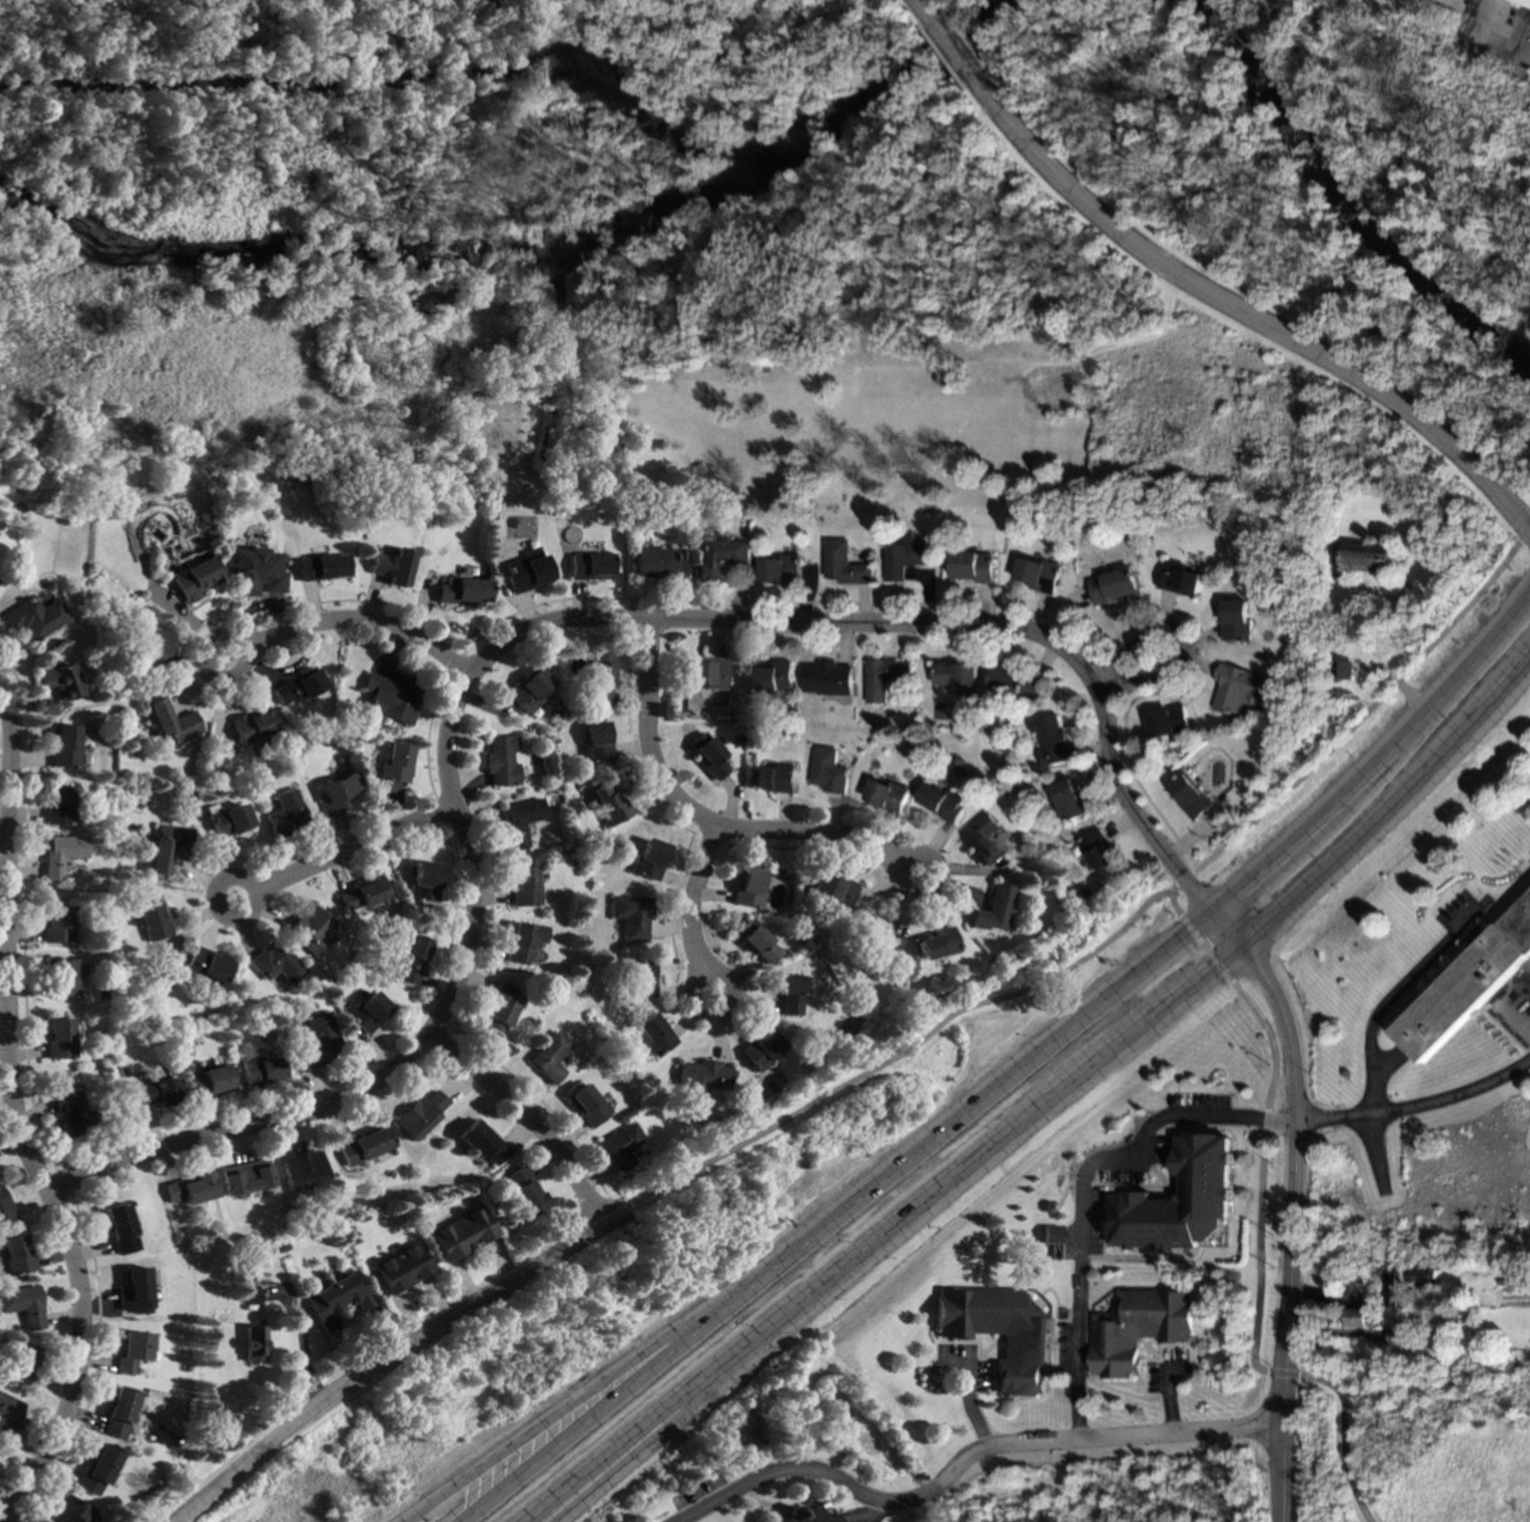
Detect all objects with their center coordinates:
building: (1523, 2)
road: (918, 5)
road: (1498, 21)
road: (957, 58)
river: (1336, 183)
river: (569, 248)
park: (798, 280)
road: (1256, 322)
building: (489, 515)
road: (1525, 535)
building: (1269, 544)
building: (717, 554)
building: (905, 557)
building: (1362, 558)
building: (845, 563)
building: (658, 564)
building: (391, 565)
building: (590, 565)
building: (975, 565)
building: (321, 567)
building: (780, 569)
building: (527, 570)
building: (255, 571)
building: (1040, 572)
building: (1182, 577)
building: (193, 579)
building: (45, 584)
building: (1117, 584)
building: (462, 589)
building: (33, 617)
building: (1238, 619)
road: (348, 623)
road: (517, 635)
building: (152, 648)
road: (1186, 651)
building: (1342, 669)
building: (707, 672)
building: (956, 673)
building: (770, 675)
building: (884, 676)
building: (826, 677)
building: (602, 678)
building: (59, 680)
building: (1017, 680)
building: (298, 686)
building: (1237, 686)
building: (530, 689)
building: (394, 696)
road: (125, 698)
road: (1363, 714)
building: (972, 719)
building: (1170, 721)
building: (173, 722)
building: (252, 725)
building: (1050, 739)
building: (597, 742)
building: (67, 747)
building: (708, 754)
building: (502, 760)
building: (397, 762)
road: (1369, 769)
building: (828, 770)
road: (27, 771)
building: (774, 777)
building: (190, 792)
building: (339, 792)
building: (889, 794)
building: (1190, 795)
building: (1071, 798)
building: (943, 801)
building: (609, 803)
building: (62, 805)
building: (286, 813)
road: (1377, 815)
building: (228, 819)
road: (703, 819)
building: (523, 820)
road: (3, 834)
building: (984, 837)
building: (167, 846)
building: (1099, 849)
road: (13, 853)
building: (65, 854)
road: (344, 854)
building: (650, 859)
building: (777, 871)
road: (1182, 878)
building: (425, 881)
building: (527, 886)
road: (129, 887)
building: (748, 887)
building: (833, 889)
building: (364, 894)
road: (1169, 899)
building: (994, 909)
road: (687, 911)
building: (632, 916)
building: (153, 917)
building: (60, 925)
road: (1456, 925)
road: (1187, 927)
road: (1225, 928)
building: (310, 929)
building: (757, 940)
building: (876, 941)
building: (524, 943)
building: (937, 943)
road: (1201, 945)
building: (414, 959)
building: (275, 963)
building: (206, 964)
road: (1216, 965)
building: (102, 968)
building: (64, 977)
building: (641, 978)
building: (1467, 982)
road: (1393, 989)
building: (788, 993)
building: (501, 1007)
building: (368, 1011)
building: (292, 1020)
building: (653, 1035)
road: (24, 1036)
building: (59, 1039)
road: (1269, 1040)
building: (317, 1043)
building: (761, 1048)
road: (901, 1053)
building: (549, 1056)
building: (259, 1069)
building: (122, 1071)
building: (700, 1080)
building: (209, 1081)
building: (153, 1093)
building: (587, 1104)
road: (1416, 1104)
building: (70, 1111)
building: (420, 1115)
road: (527, 1118)
road: (1263, 1121)
road: (1367, 1121)
road: (16, 1123)
building: (482, 1143)
building: (364, 1146)
building: (620, 1146)
road: (966, 1167)
building: (301, 1168)
building: (244, 1177)
road: (61, 1185)
road: (1076, 1187)
building: (189, 1189)
building: (524, 1191)
building: (1177, 1203)
building: (252, 1207)
building: (1043, 1208)
building: (5, 1209)
road: (1290, 1226)
building: (116, 1228)
road: (828, 1228)
building: (461, 1234)
building: (1049, 1234)
building: (280, 1247)
building: (17, 1255)
road: (1258, 1255)
building: (400, 1268)
building: (1374, 1273)
building: (1424, 1278)
building: (245, 1283)
building: (1351, 1284)
building: (131, 1291)
building: (250, 1295)
building: (237, 1296)
building: (336, 1298)
building: (23, 1305)
building: (1359, 1317)
building: (1139, 1327)
building: (998, 1332)
building: (1403, 1336)
building: (251, 1343)
building: (129, 1351)
road: (389, 1352)
building: (20, 1365)
road: (1281, 1373)
road: (605, 1387)
road: (1168, 1399)
road: (968, 1405)
building: (116, 1412)
building: (8, 1415)
park: (1418, 1435)
road: (1342, 1437)
road: (627, 1446)
road: (961, 1456)
building: (95, 1469)
building: (68, 1511)
building: (804, 1514)

